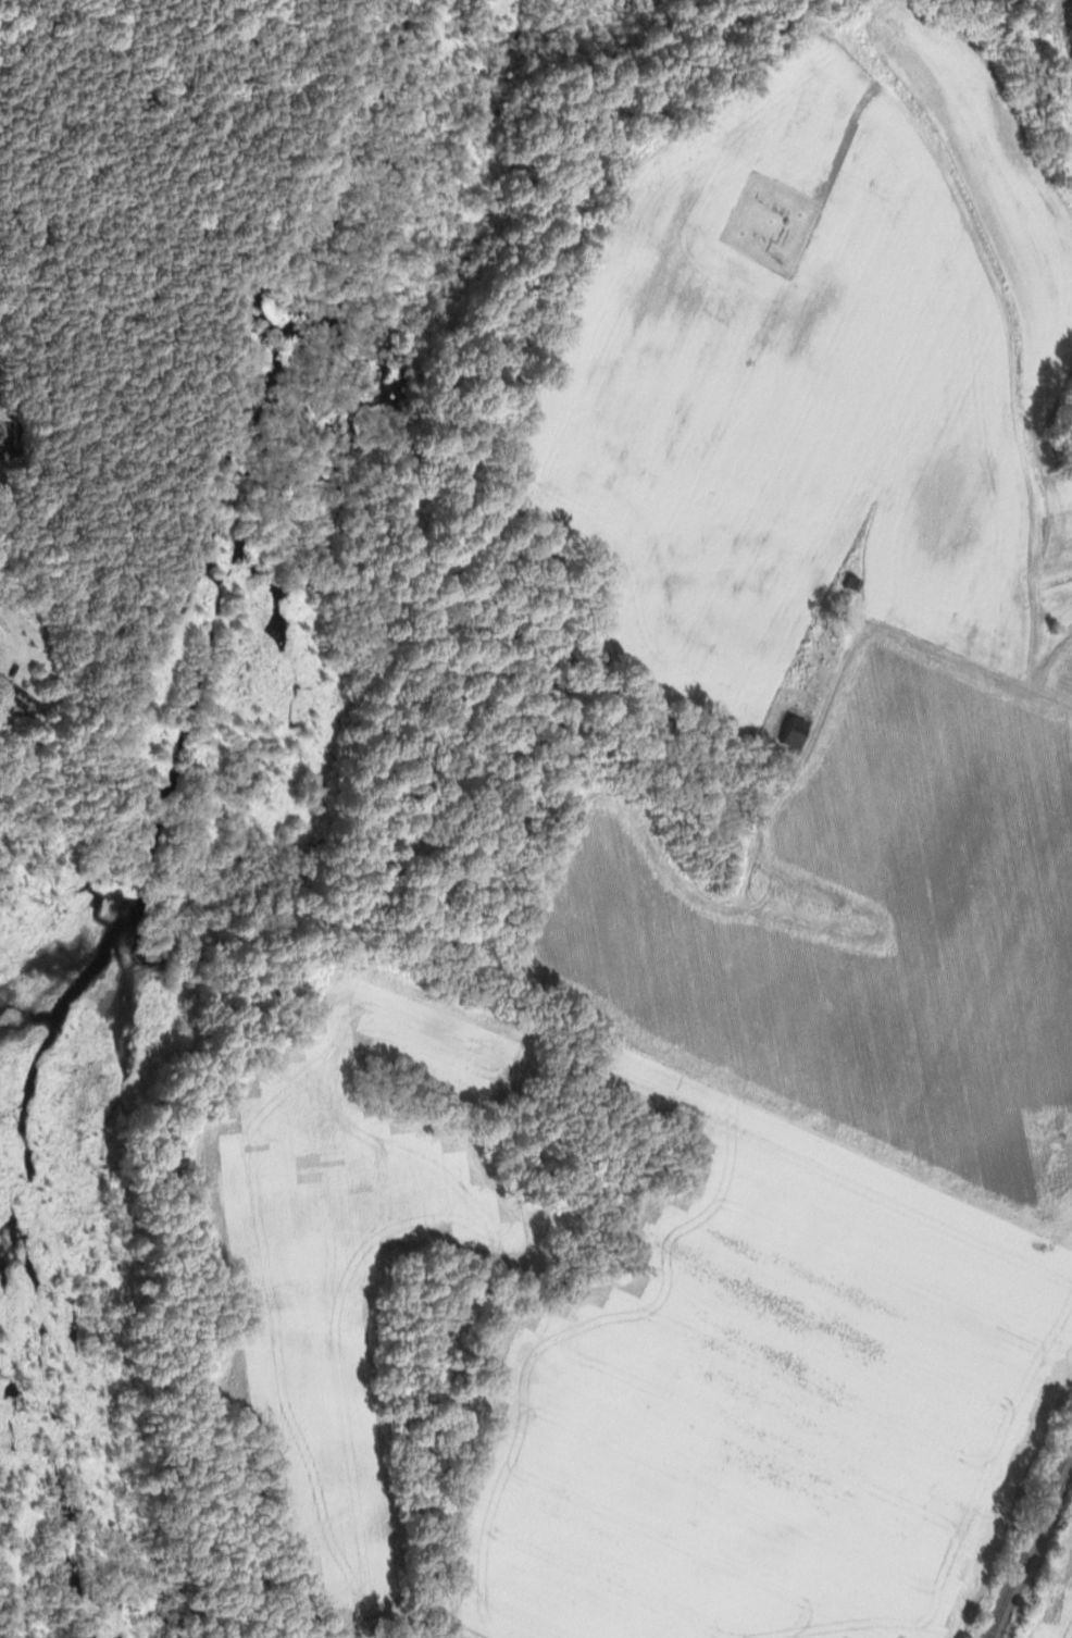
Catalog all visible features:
road: (925, 640)
building: (789, 733)
railway: (1025, 1525)

